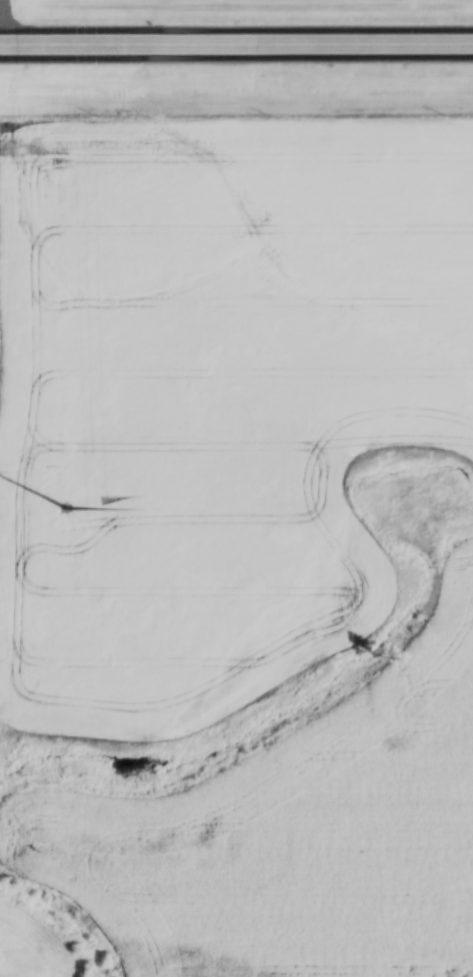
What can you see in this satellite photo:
road: (236, 41)
building: (32, 46)
building: (206, 46)
power tower: (67, 507)

